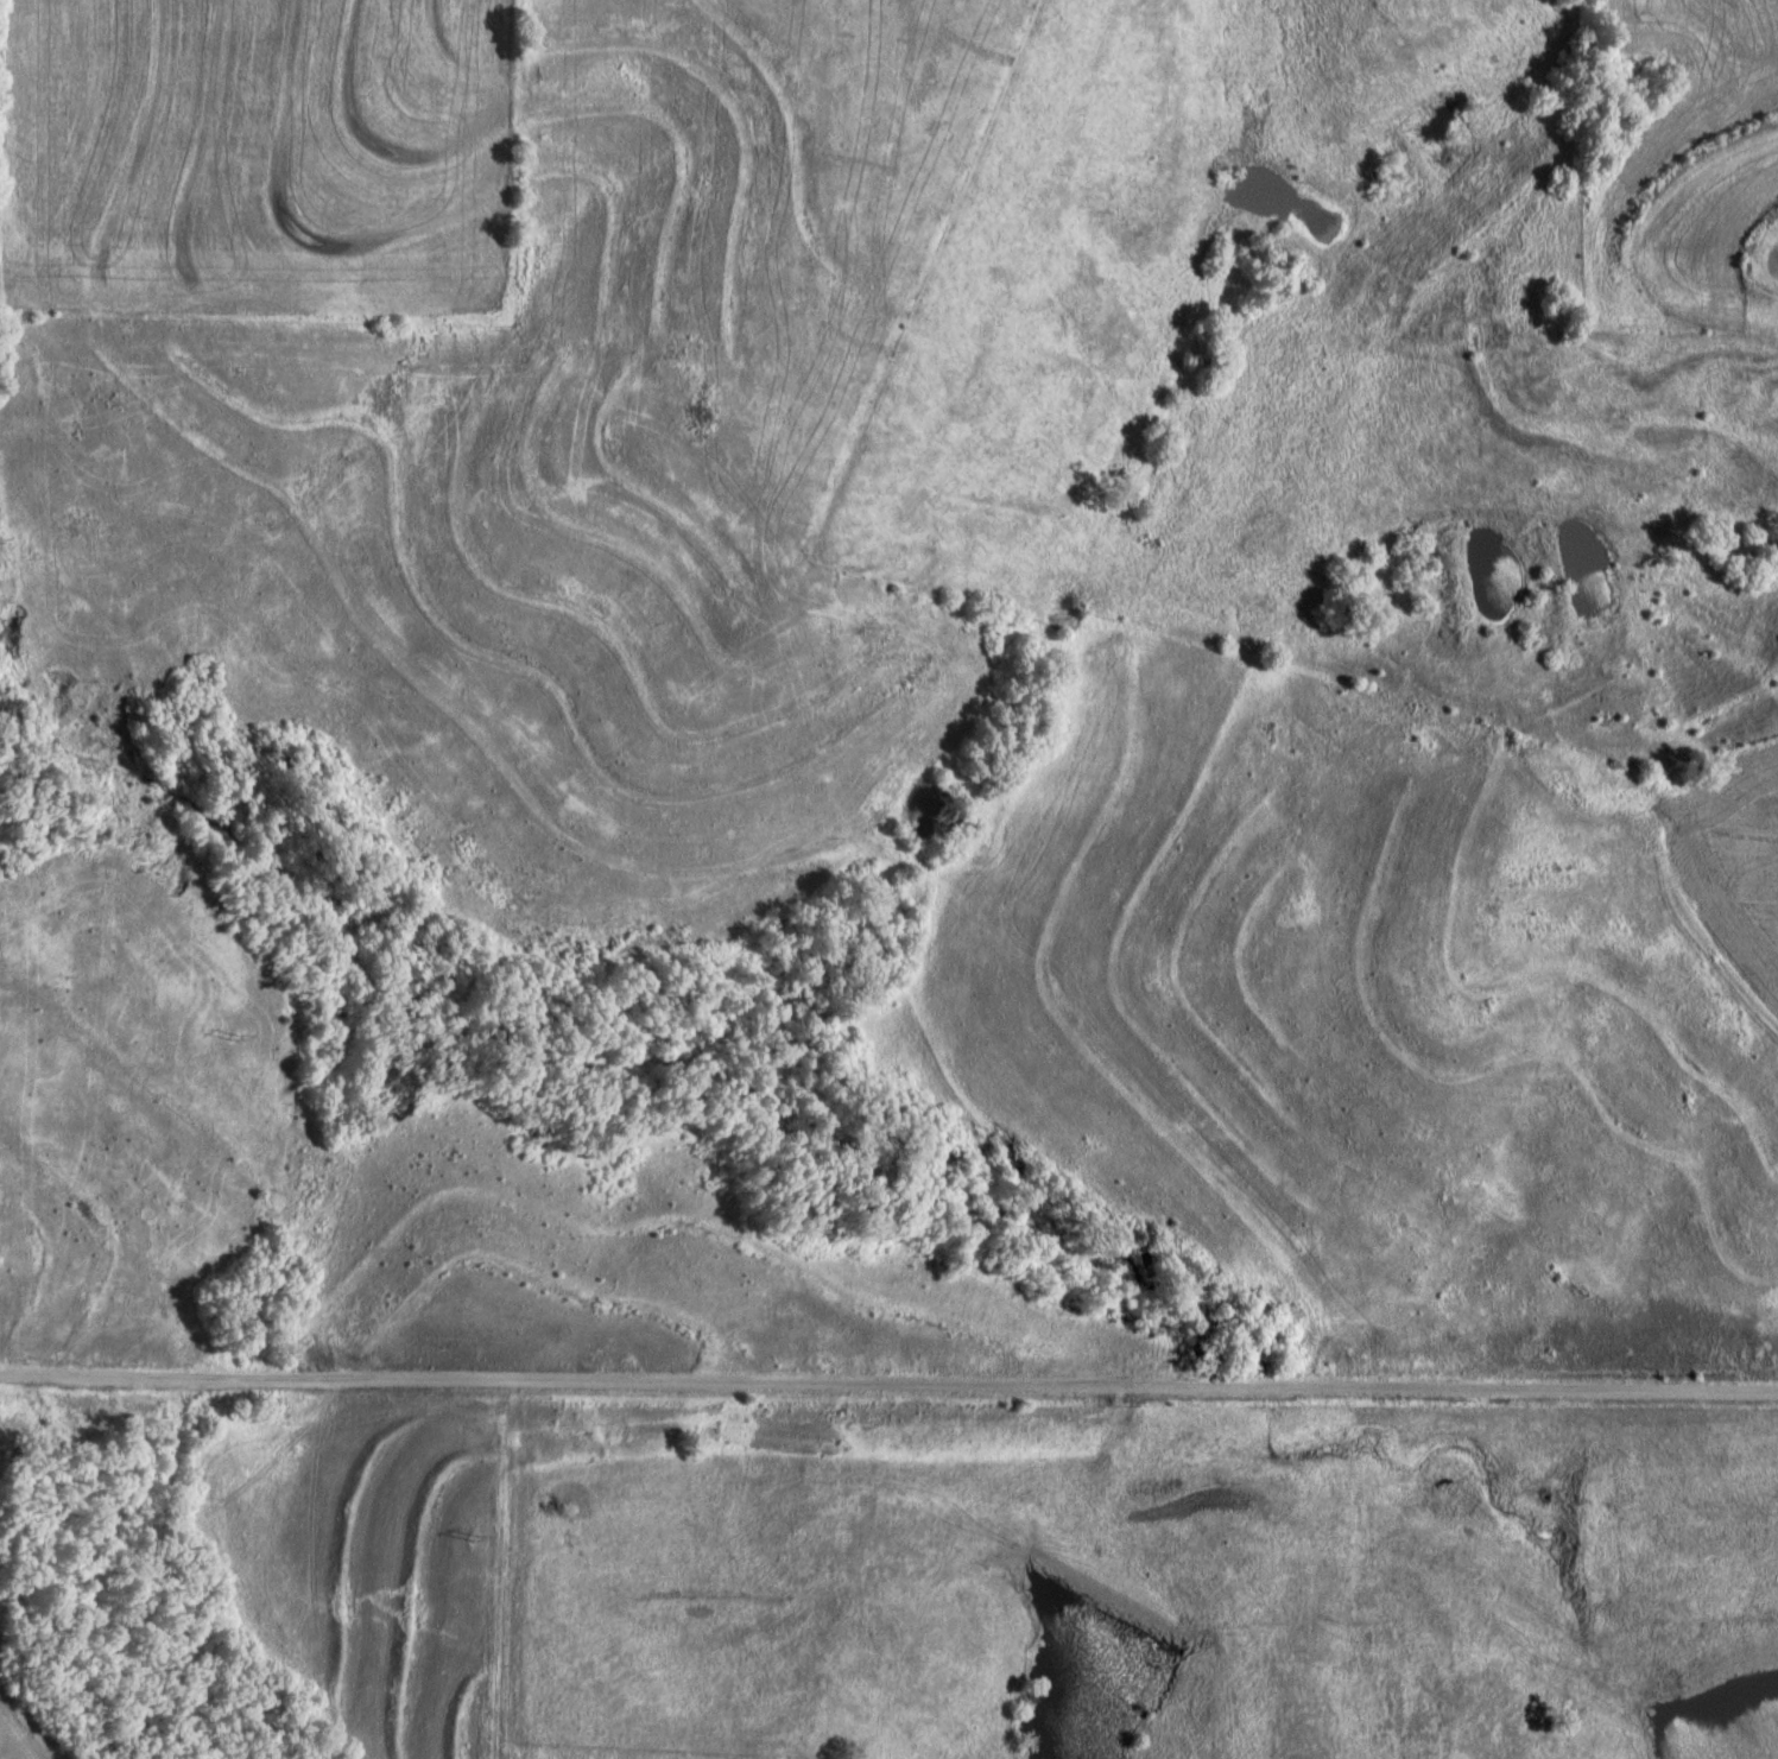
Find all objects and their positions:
road: (888, 1384)

